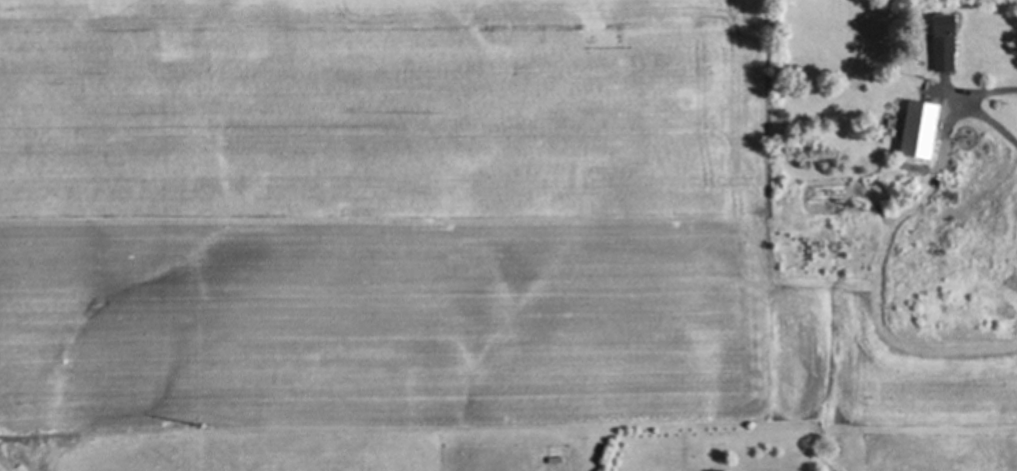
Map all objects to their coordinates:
building: (938, 44)
road: (973, 107)

